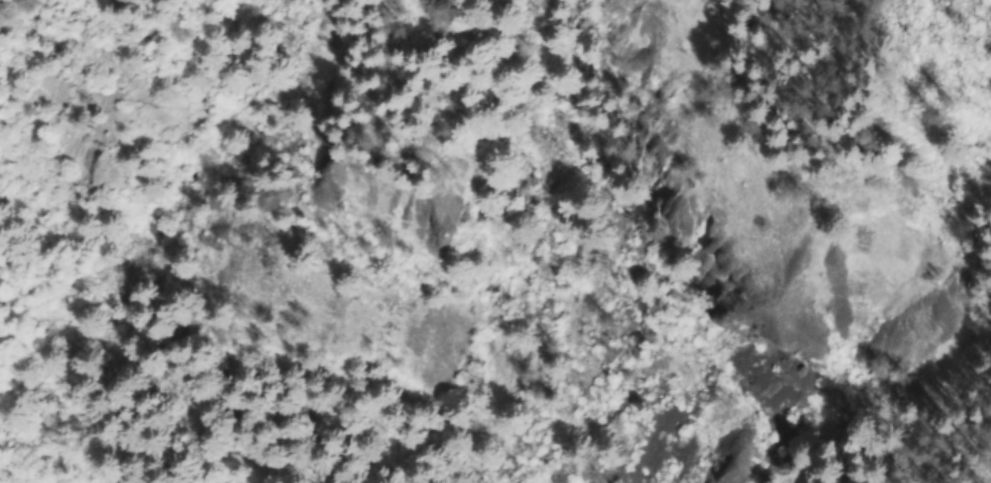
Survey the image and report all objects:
road: (968, 22)
road: (156, 136)
road: (123, 404)

